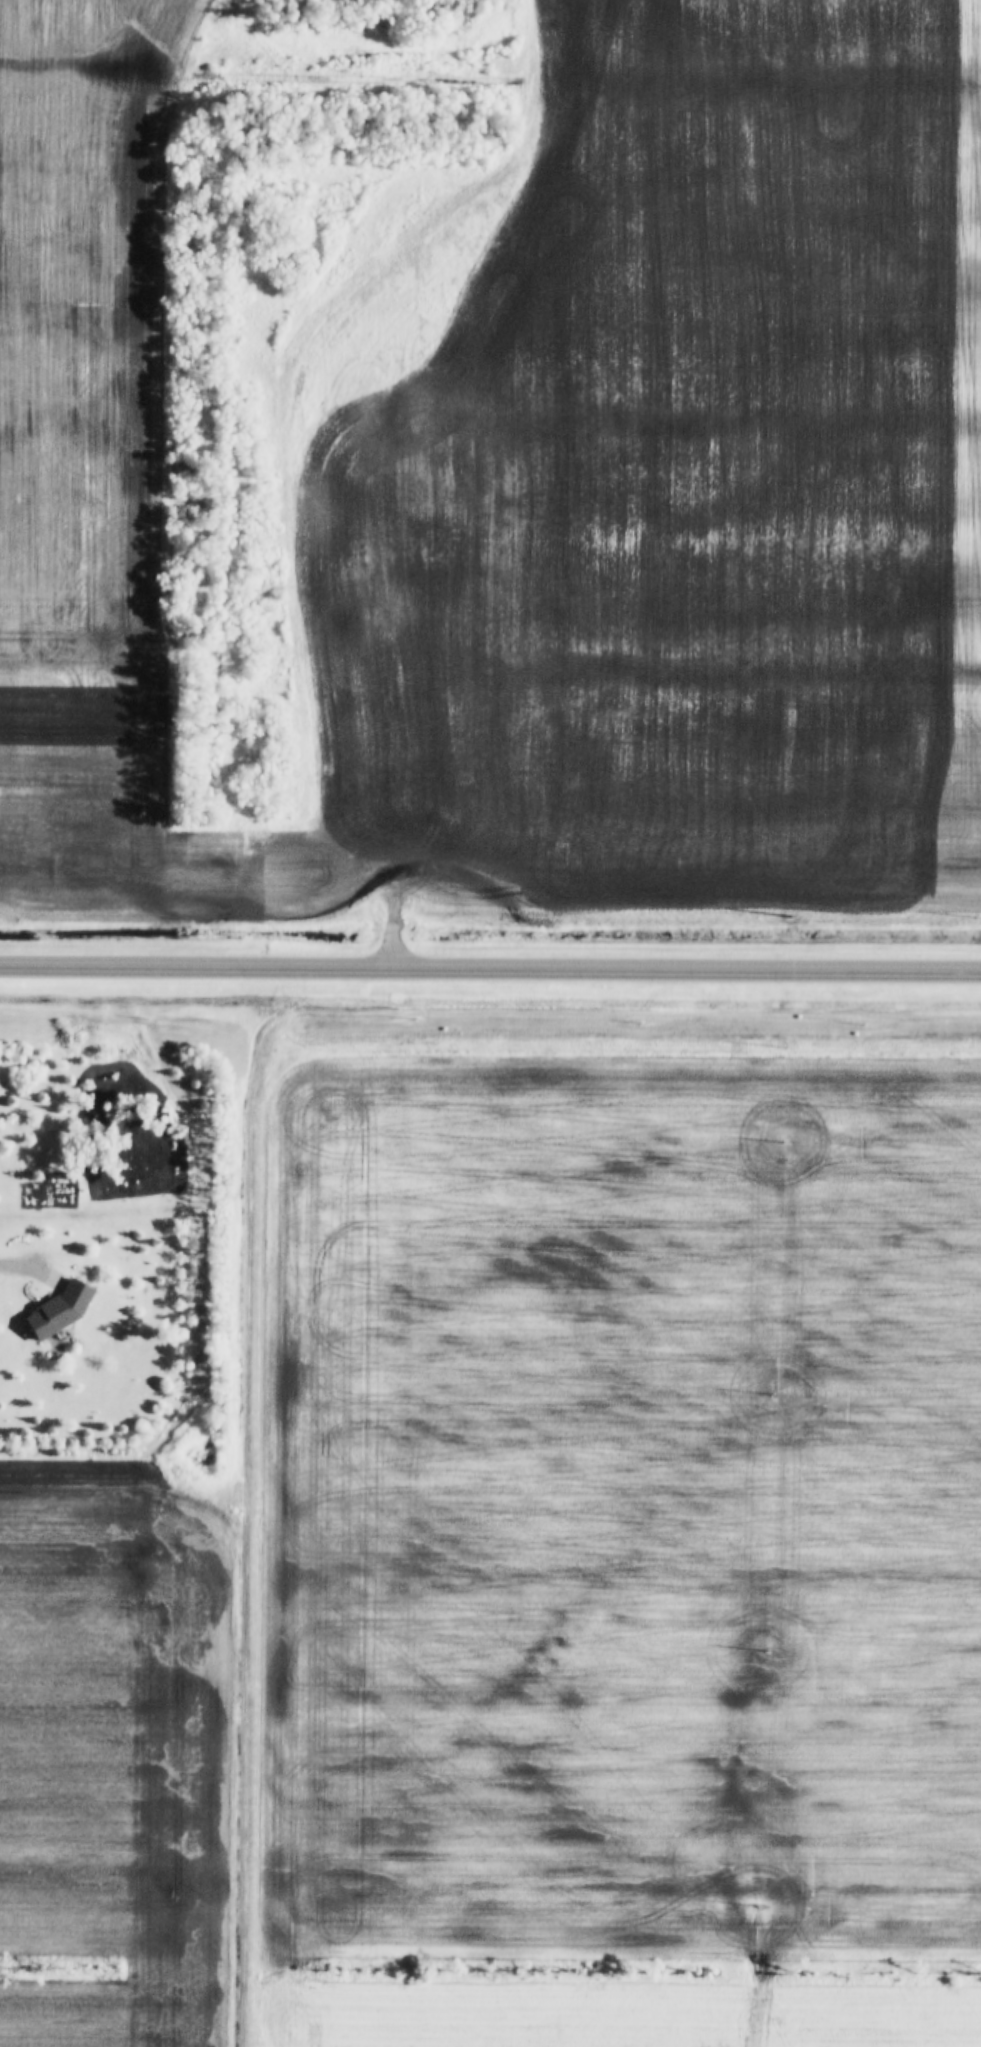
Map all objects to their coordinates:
road: (490, 968)
building: (62, 1311)
crop: (609, 1550)
crop: (117, 1765)

